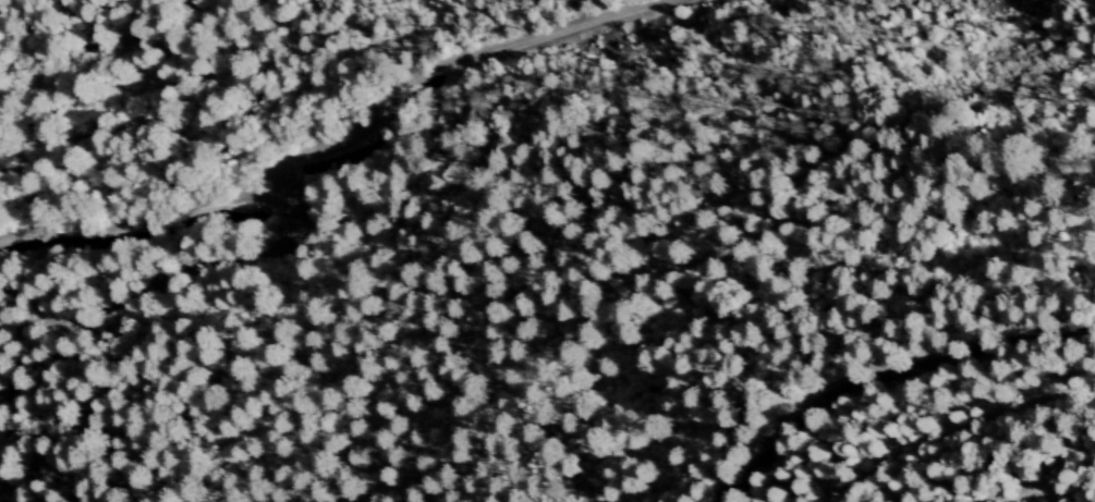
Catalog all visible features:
road: (883, 370)

